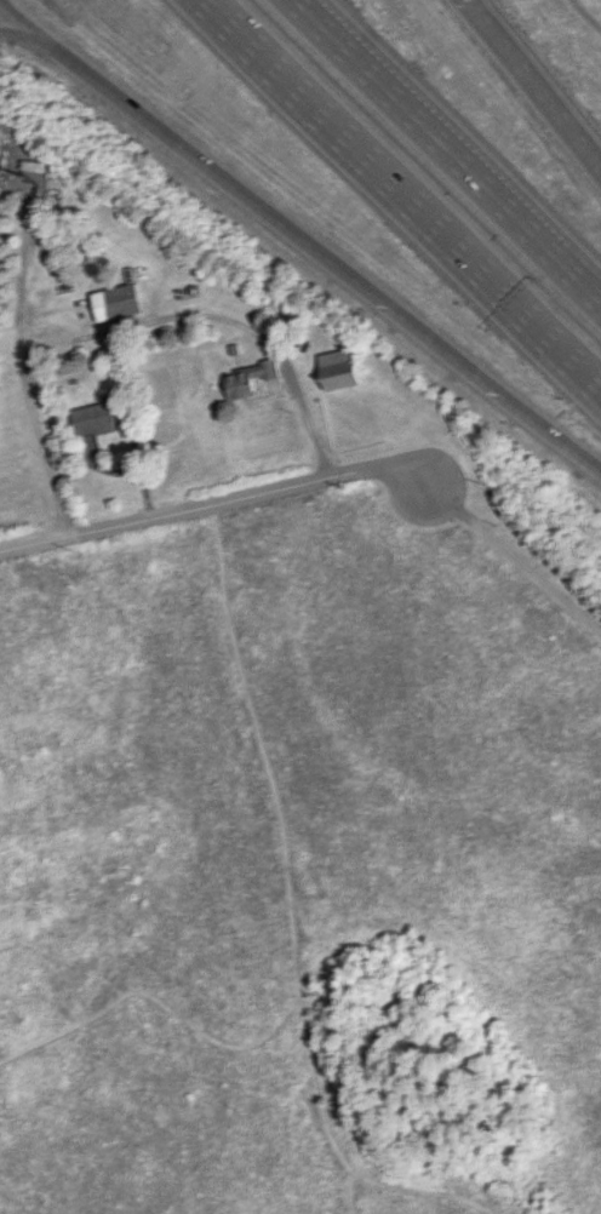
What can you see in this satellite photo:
road: (584, 17)
road: (13, 33)
road: (59, 57)
road: (532, 85)
road: (448, 150)
road: (407, 190)
road: (337, 268)
building: (118, 302)
road: (221, 316)
building: (339, 368)
building: (250, 377)
road: (25, 379)
building: (96, 418)
road: (132, 422)
road: (576, 452)
road: (216, 503)
road: (516, 557)

